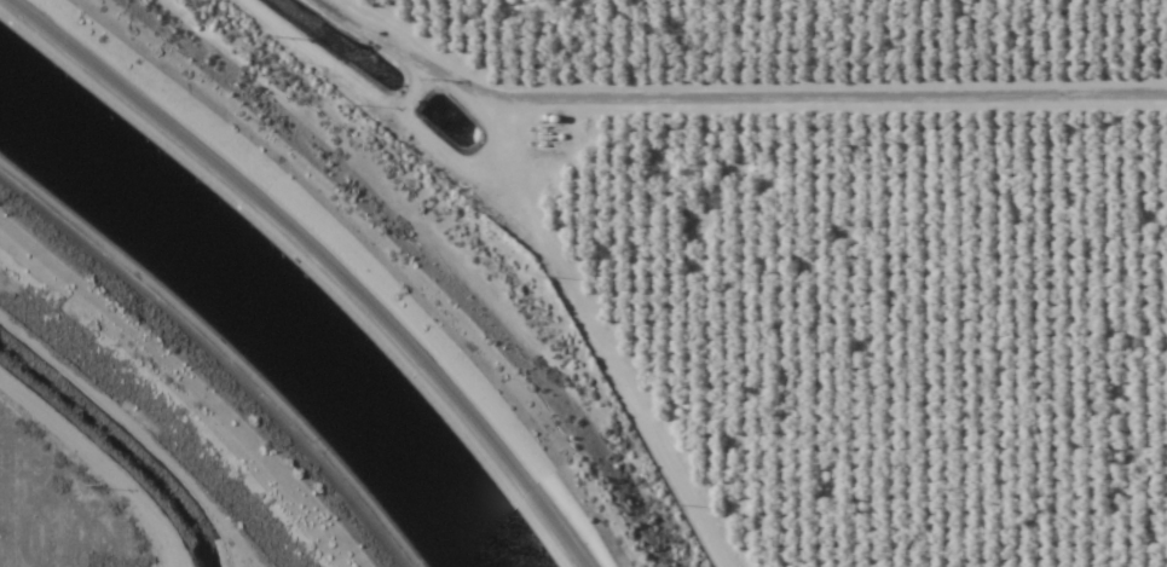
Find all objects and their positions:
road: (364, 260)
road: (213, 360)

